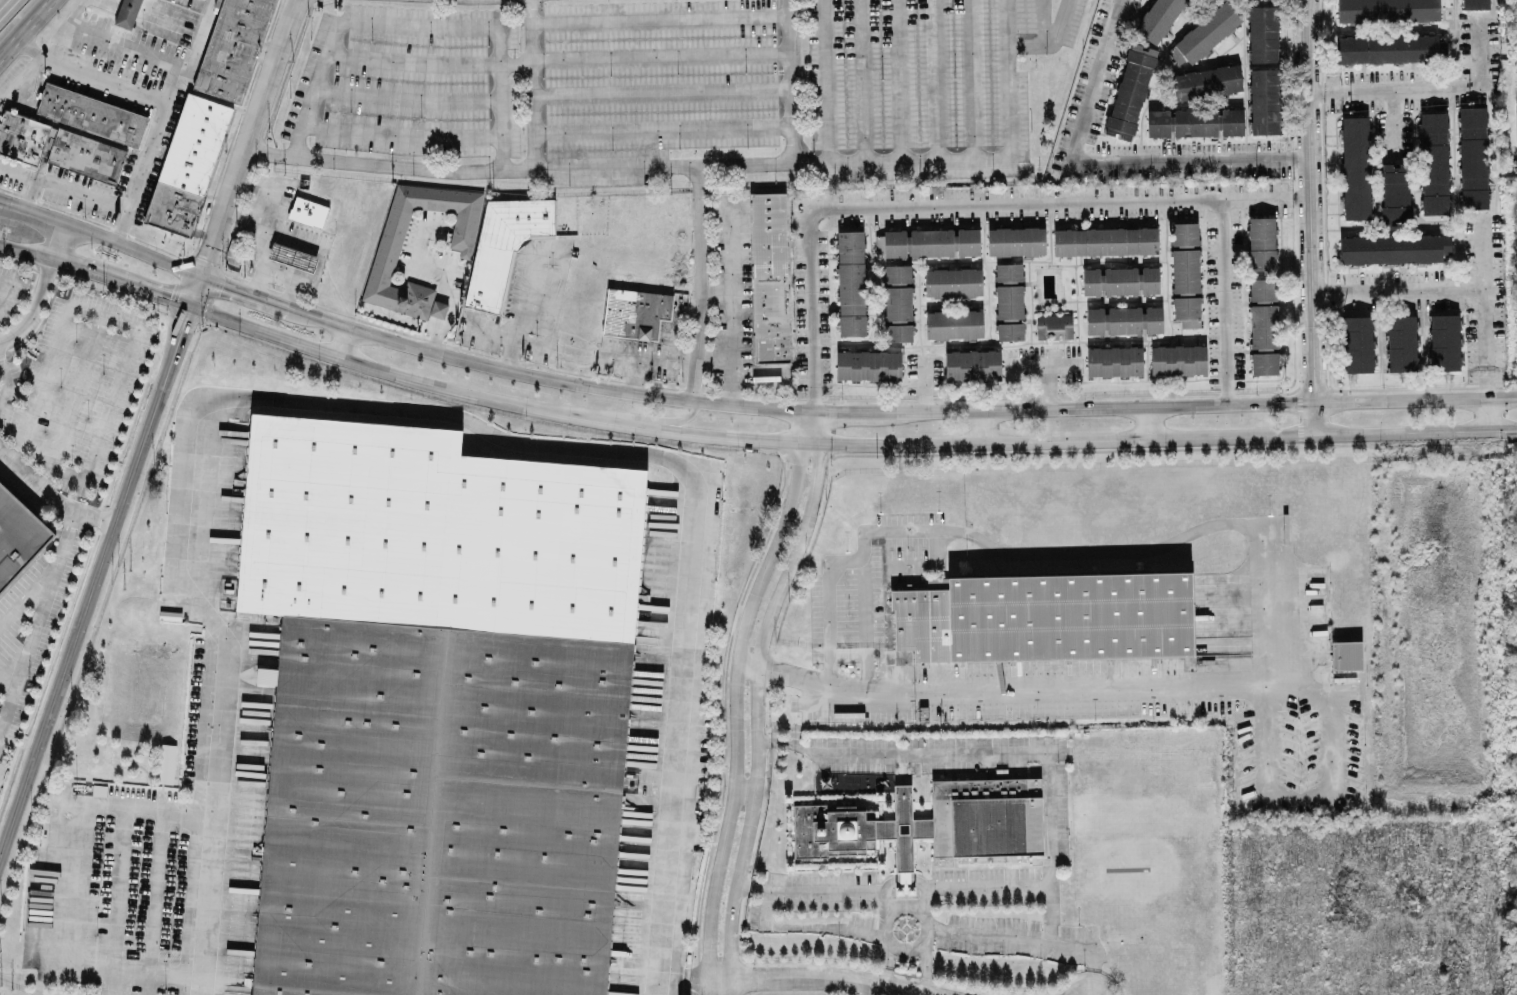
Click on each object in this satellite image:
road: (778, 3)
building: (1474, 4)
building: (1387, 10)
building: (124, 13)
road: (660, 17)
building: (1157, 18)
road: (1041, 22)
road: (416, 26)
road: (1060, 26)
road: (27, 29)
building: (1204, 33)
building: (1263, 33)
road: (1025, 46)
building: (1391, 48)
road: (122, 49)
building: (230, 49)
road: (42, 50)
road: (1481, 50)
road: (662, 53)
road: (411, 62)
road: (514, 62)
road: (90, 76)
road: (1010, 77)
road: (937, 78)
road: (973, 78)
road: (862, 79)
road: (899, 79)
road: (795, 80)
road: (824, 80)
building: (1206, 81)
road: (530, 83)
parking lot: (672, 86)
road: (663, 89)
road: (1394, 89)
building: (1130, 90)
road: (405, 99)
building: (1264, 100)
road: (167, 105)
building: (89, 115)
building: (1516, 116)
building: (1194, 121)
road: (1392, 123)
road: (664, 129)
road: (399, 134)
road: (245, 136)
building: (57, 148)
building: (1472, 156)
building: (1433, 161)
road: (1102, 163)
building: (184, 164)
road: (626, 165)
building: (1356, 167)
road: (62, 189)
road: (751, 190)
road: (27, 192)
building: (1395, 192)
road: (1, 198)
road: (958, 204)
road: (713, 206)
building: (307, 210)
road: (1309, 216)
road: (120, 226)
building: (463, 230)
road: (263, 231)
road: (100, 235)
building: (1105, 240)
building: (928, 241)
building: (1262, 242)
building: (503, 245)
building: (1394, 248)
road: (537, 253)
building: (292, 255)
road: (417, 262)
road: (57, 263)
building: (1185, 272)
traffic signals: (199, 274)
building: (1012, 274)
building: (768, 275)
road: (286, 277)
building: (1119, 280)
road: (699, 281)
building: (850, 281)
building: (953, 281)
road: (42, 286)
road: (1398, 288)
parking lot: (9, 289)
road: (193, 289)
road: (5, 291)
road: (249, 292)
road: (714, 292)
road: (151, 293)
road: (445, 295)
road: (729, 297)
road: (1222, 301)
building: (898, 302)
road: (1485, 304)
traffic signals: (188, 305)
road: (95, 312)
building: (634, 312)
building: (1123, 319)
building: (954, 323)
building: (1054, 325)
building: (1263, 325)
road: (503, 336)
road: (434, 337)
building: (1401, 341)
building: (1444, 341)
road: (345, 343)
building: (1357, 343)
road: (645, 355)
road: (713, 359)
building: (1178, 359)
building: (1114, 360)
building: (972, 363)
road: (1041, 363)
building: (868, 364)
road: (633, 373)
road: (758, 373)
road: (552, 378)
road: (1, 379)
road: (925, 382)
road: (1045, 385)
parking lot: (78, 386)
road: (19, 393)
road: (1195, 403)
road: (408, 406)
road: (843, 409)
road: (1490, 413)
road: (637, 415)
road: (1146, 421)
road: (985, 425)
road: (843, 441)
building: (1514, 456)
road: (49, 495)
building: (18, 537)
road: (989, 546)
road: (94, 577)
road: (28, 592)
building: (1045, 615)
road: (37, 618)
road: (1268, 624)
parking lot: (30, 625)
road: (864, 625)
building: (1346, 654)
road: (744, 663)
road: (8, 667)
building: (265, 675)
road: (1012, 687)
road: (731, 696)
road: (757, 697)
road: (994, 754)
building: (166, 762)
road: (743, 786)
road: (1312, 797)
building: (436, 805)
building: (921, 823)
road: (77, 877)
road: (974, 883)
road: (821, 889)
road: (924, 923)
road: (806, 925)
road: (1028, 939)
road: (886, 963)
road: (926, 967)
road: (823, 975)
road: (112, 981)
road: (149, 983)

